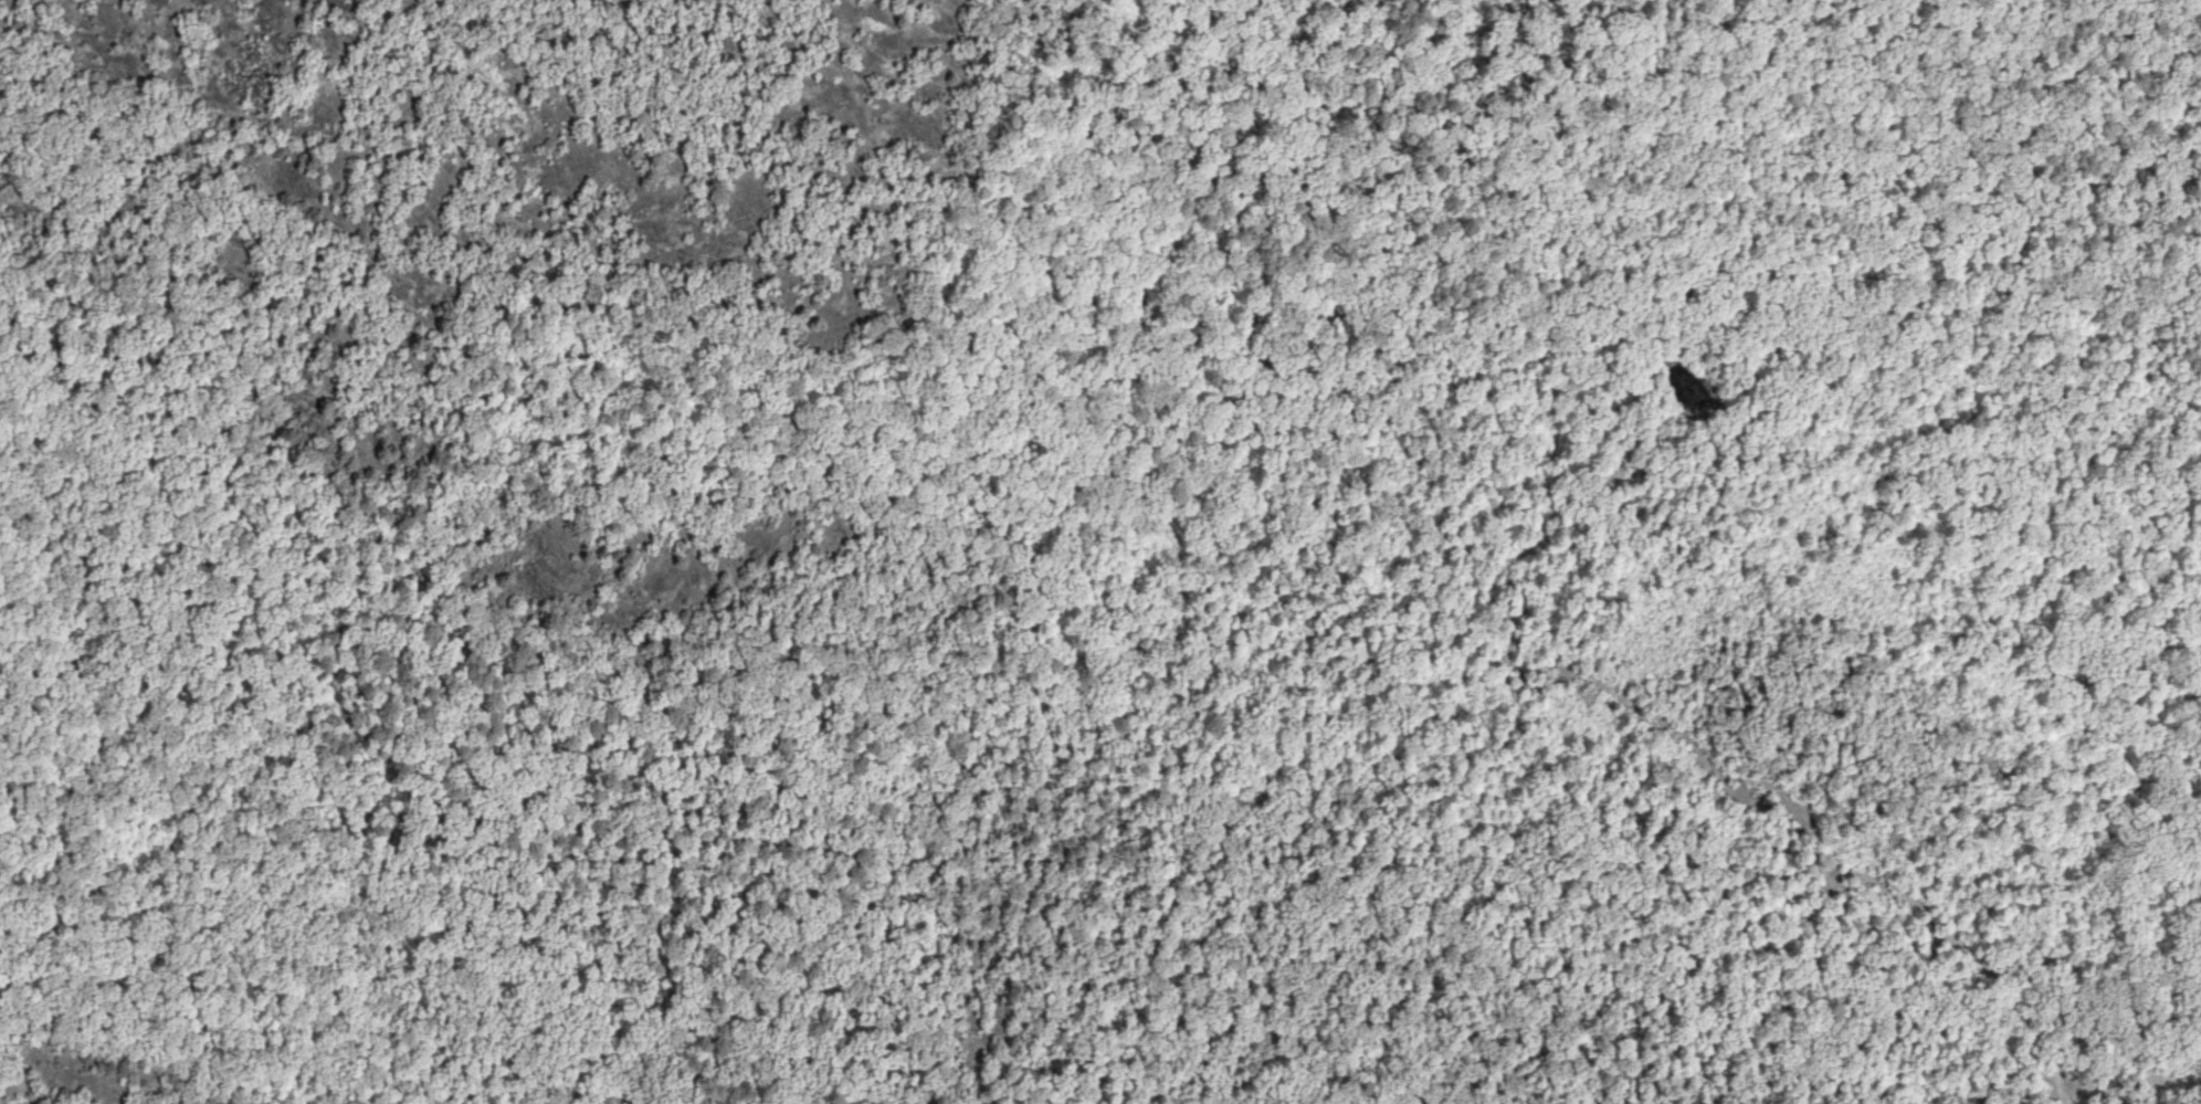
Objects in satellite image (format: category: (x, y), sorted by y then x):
road: (1513, 604)

